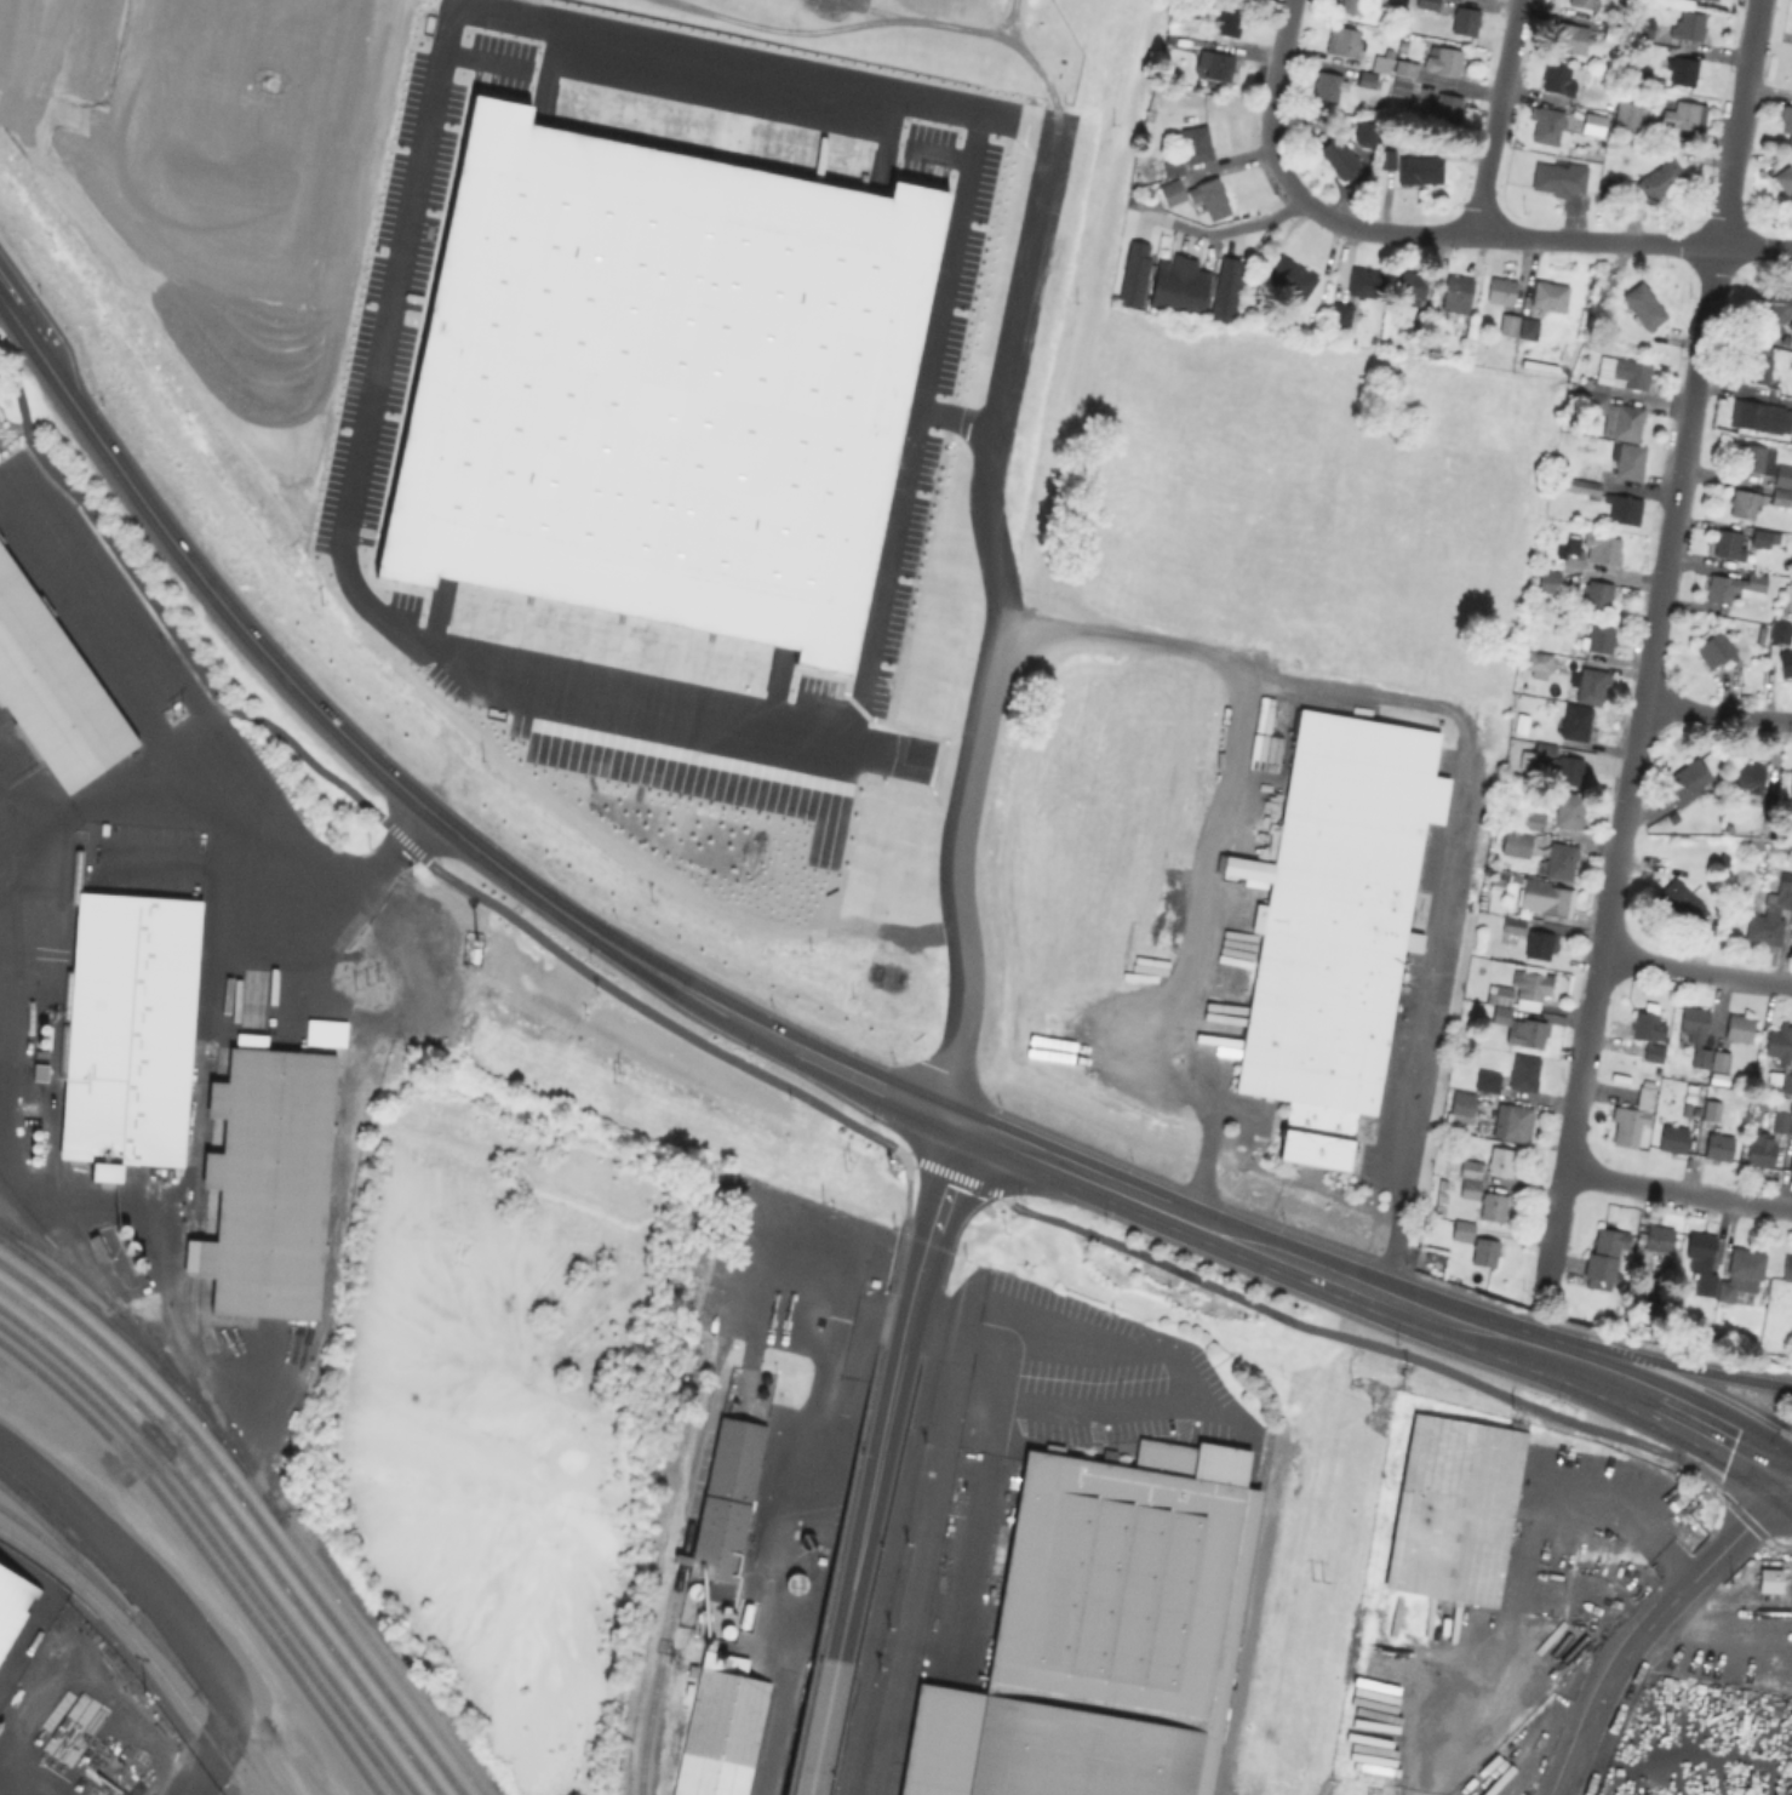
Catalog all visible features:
building: (1712, 0)
building: (1398, 1)
building: (1585, 2)
building: (1426, 4)
building: (1351, 6)
road: (1007, 21)
building: (1227, 22)
building: (1464, 22)
road: (866, 23)
building: (1688, 25)
building: (1568, 38)
building: (1342, 41)
building: (1442, 61)
road: (485, 62)
road: (733, 62)
building: (1381, 62)
building: (1215, 63)
road: (28, 67)
building: (1404, 68)
building: (1681, 68)
building: (1366, 79)
building: (1562, 81)
building: (1327, 84)
building: (1399, 86)
building: (1443, 108)
building: (1681, 114)
building: (1625, 115)
road: (1493, 119)
building: (1786, 119)
building: (1593, 124)
building: (1546, 126)
building: (1366, 130)
building: (1649, 130)
road: (1270, 132)
building: (217, 138)
building: (1195, 144)
road: (938, 155)
building: (1338, 158)
building: (1385, 159)
building: (1172, 165)
building: (1419, 170)
building: (1558, 177)
building: (1785, 179)
building: (1660, 181)
building: (1607, 190)
building: (1170, 191)
building: (1209, 196)
road: (1226, 229)
road: (1573, 242)
road: (344, 265)
building: (1133, 271)
building: (1292, 274)
road: (116, 280)
building: (1164, 280)
building: (1364, 280)
building: (1412, 284)
building: (1190, 286)
building: (1225, 287)
building: (1500, 288)
building: (1545, 295)
building: (1456, 296)
building: (1643, 304)
building: (1775, 308)
building: (1338, 314)
road: (230, 320)
building: (1419, 320)
building: (1507, 324)
building: (1528, 326)
building: (1598, 343)
building: (1538, 362)
building: (1756, 366)
building: (1618, 372)
road: (248, 381)
building: (659, 385)
building: (1609, 412)
building: (1759, 415)
road: (958, 419)
road: (918, 428)
building: (1619, 458)
building: (1763, 462)
building: (1582, 485)
building: (1781, 496)
building: (1742, 503)
building: (1624, 509)
building: (1763, 536)
building: (1728, 544)
building: (1591, 548)
building: (1548, 579)
building: (1731, 584)
building: (1598, 593)
building: (1780, 630)
building: (1759, 633)
building: (1598, 638)
road: (1651, 646)
building: (1714, 647)
building: (1785, 661)
building: (1536, 662)
building: (1590, 682)
road: (1272, 684)
building: (52, 690)
road: (626, 692)
road: (1716, 716)
road: (207, 720)
building: (1575, 721)
building: (1521, 722)
building: (1559, 761)
building: (1750, 776)
building: (1687, 778)
building: (1791, 787)
road: (410, 790)
road: (111, 798)
building: (1570, 807)
building: (1533, 818)
road: (383, 822)
building: (1516, 841)
building: (1561, 859)
road: (8, 879)
building: (1544, 896)
building: (1679, 899)
building: (1770, 913)
building: (1489, 920)
building: (1791, 920)
building: (1511, 922)
building: (1334, 926)
building: (1539, 943)
road: (1197, 951)
road: (1695, 972)
building: (1521, 988)
building: (1500, 1014)
building: (1647, 1022)
building: (1737, 1028)
building: (1527, 1031)
building: (1694, 1033)
building: (128, 1034)
building: (1653, 1052)
building: (1780, 1054)
building: (1719, 1061)
building: (1523, 1071)
building: (1487, 1080)
building: (1461, 1107)
building: (1711, 1109)
building: (1631, 1116)
building: (1780, 1120)
building: (1513, 1121)
building: (1790, 1126)
building: (1672, 1138)
building: (1717, 1145)
railway: (56, 1147)
building: (1759, 1150)
building: (1500, 1160)
building: (1791, 1162)
building: (1471, 1167)
building: (268, 1185)
building: (1468, 1188)
road: (1676, 1193)
railway: (18, 1206)
building: (1493, 1206)
building: (1462, 1230)
railway: (39, 1231)
building: (1658, 1239)
road: (1249, 1248)
building: (1484, 1251)
building: (1603, 1258)
building: (1701, 1262)
railway: (70, 1268)
building: (1786, 1268)
building: (1740, 1273)
railway: (189, 1284)
road: (903, 1326)
road: (1335, 1334)
road: (1049, 1359)
road: (1668, 1366)
road: (889, 1394)
road: (1670, 1416)
railway: (262, 1496)
building: (726, 1502)
railway: (251, 1510)
building: (1454, 1510)
road: (1620, 1515)
railway: (236, 1525)
railway: (224, 1537)
railway: (214, 1547)
railway: (202, 1557)
railway: (65, 1559)
railway: (108, 1574)
railway: (674, 1604)
building: (12, 1606)
road: (1647, 1623)
railway: (144, 1631)
building: (1104, 1634)
railway: (138, 1648)
road: (823, 1730)
building: (721, 1736)

